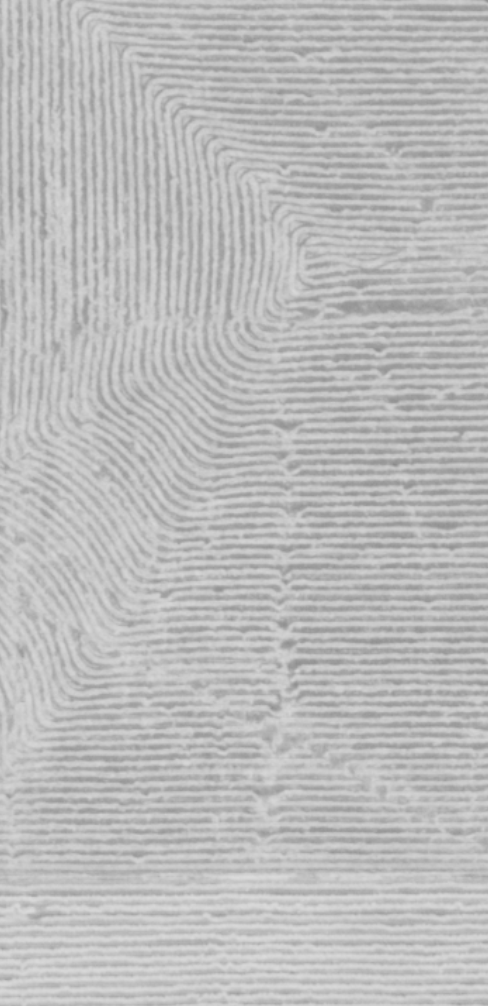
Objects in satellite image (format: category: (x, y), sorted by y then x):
crop: (244, 503)

